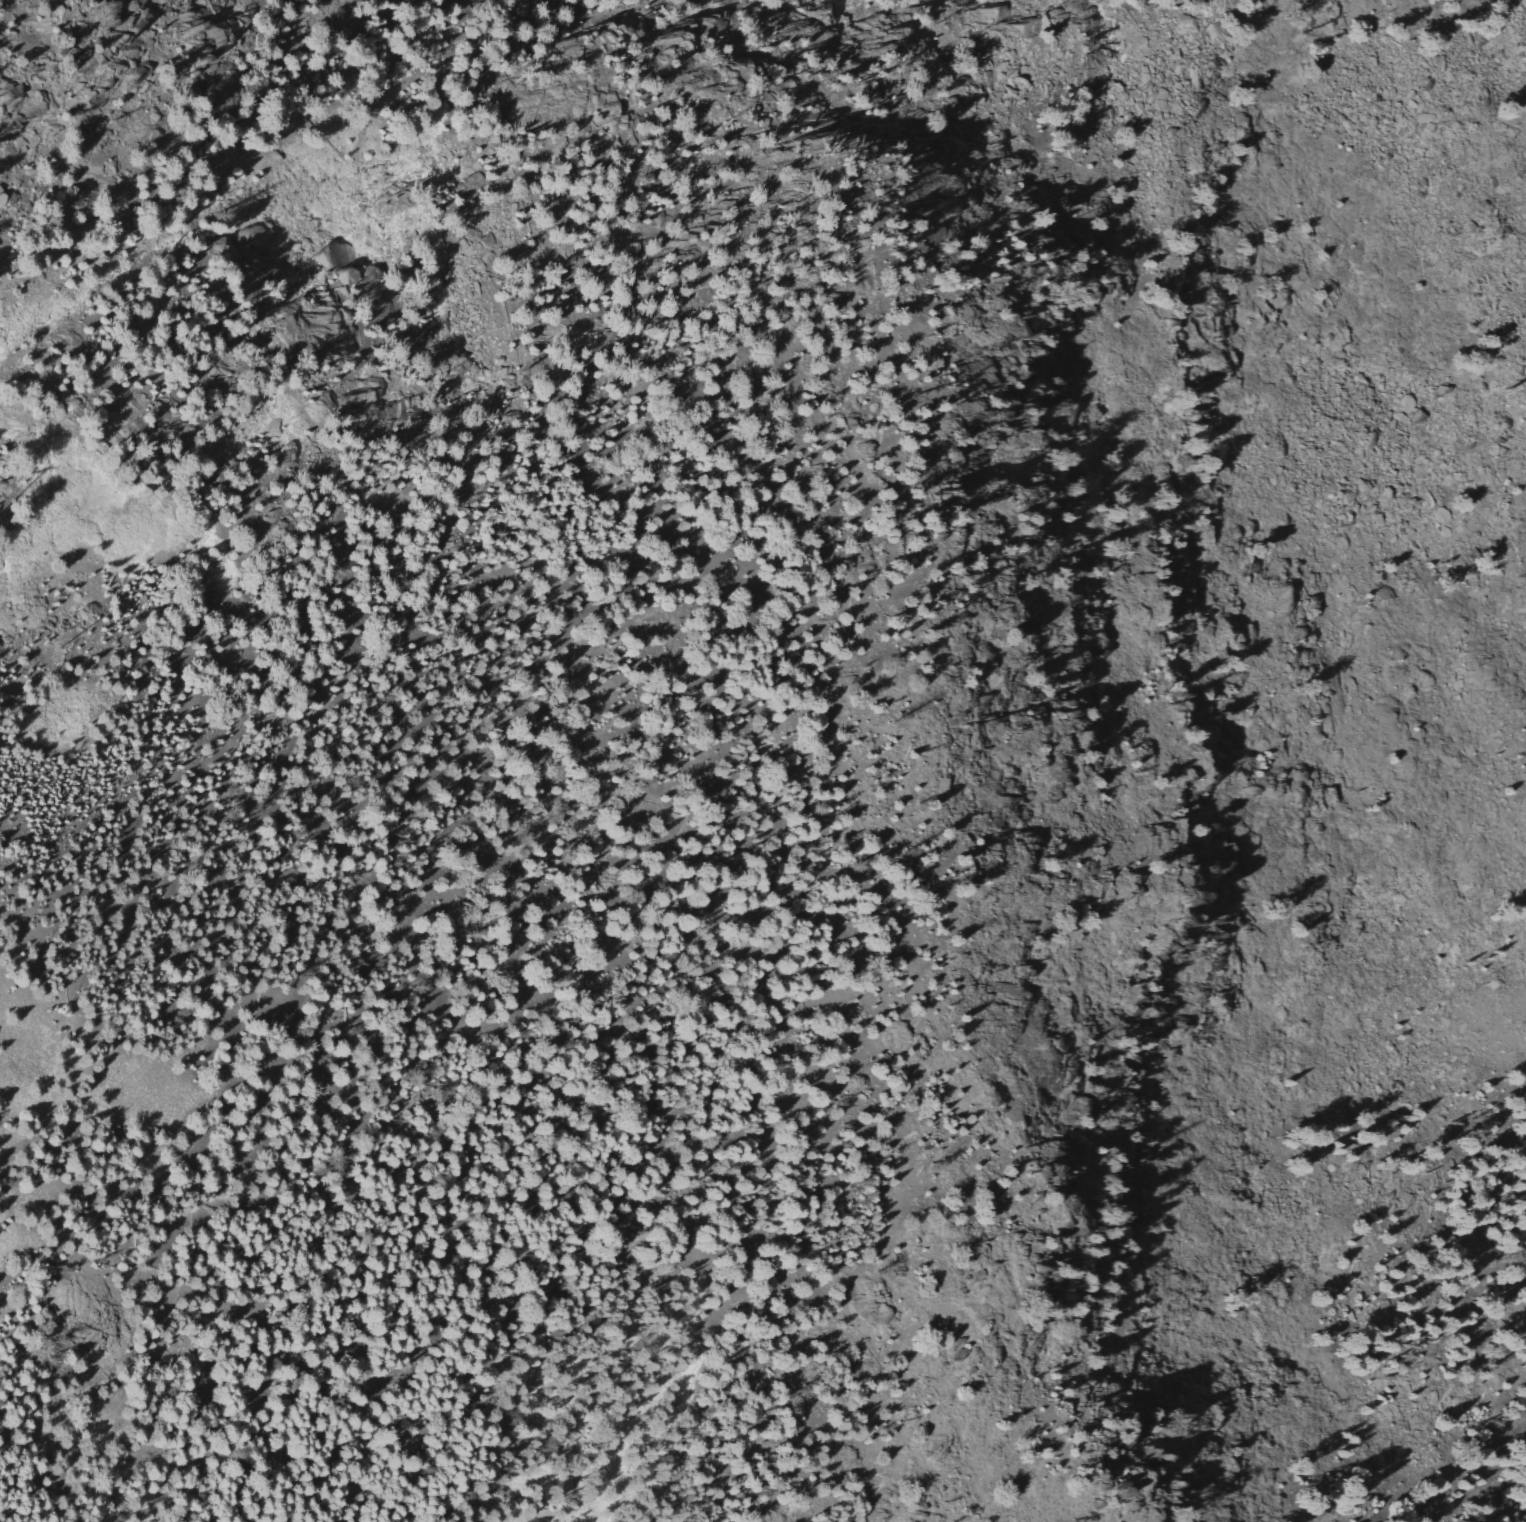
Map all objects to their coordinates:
road: (243, 92)
road: (440, 792)

